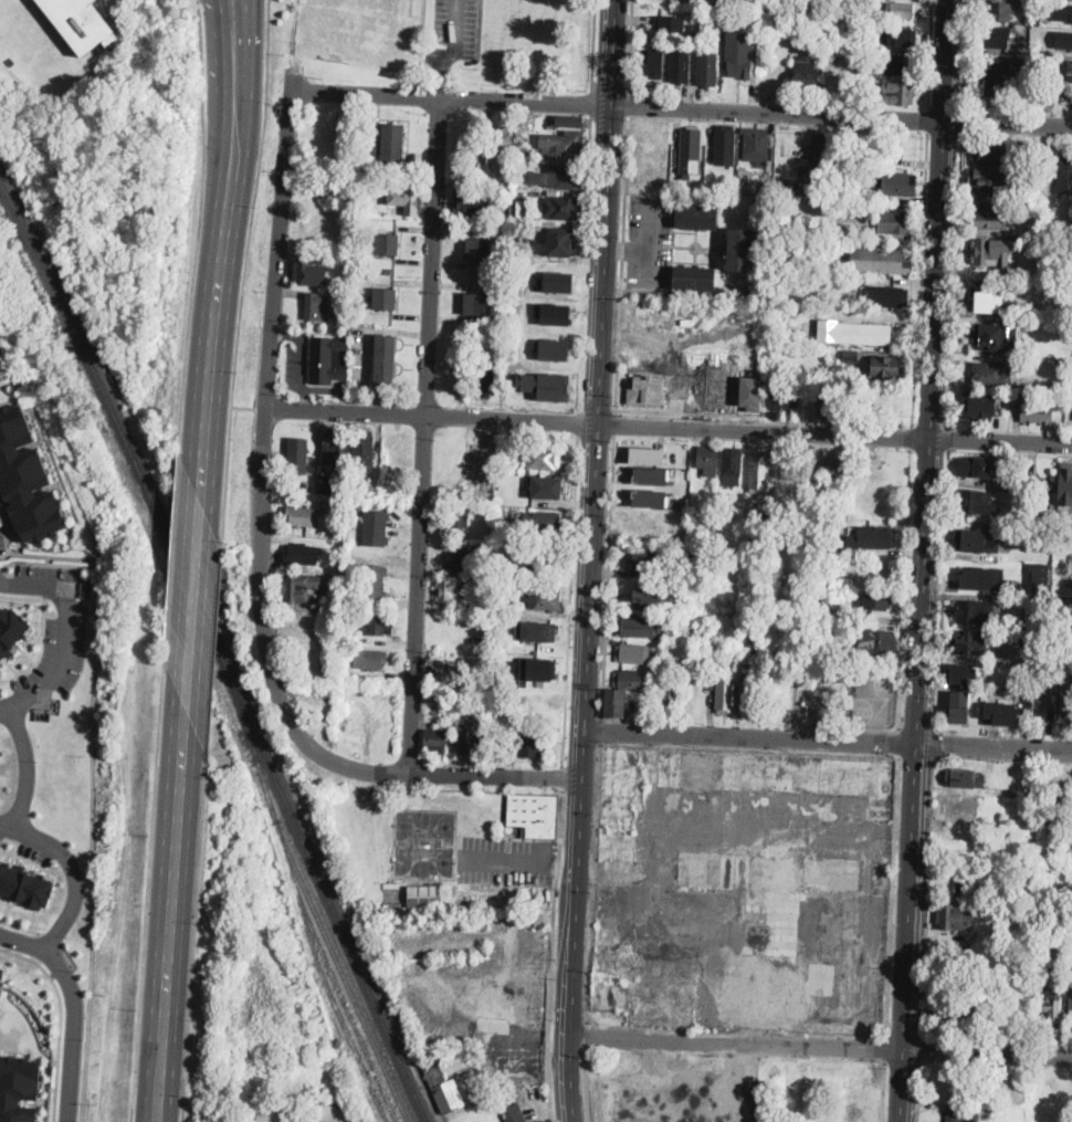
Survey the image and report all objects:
building: (1022, 2)
building: (726, 3)
building: (902, 10)
building: (1001, 11)
building: (1065, 12)
building: (880, 18)
building: (729, 19)
building: (671, 22)
building: (1038, 22)
building: (81, 23)
parking lot: (456, 25)
road: (455, 27)
road: (232, 31)
road: (244, 31)
building: (1037, 33)
building: (995, 38)
building: (900, 39)
building: (1064, 43)
road: (593, 45)
building: (797, 46)
road: (630, 48)
road: (929, 53)
road: (965, 53)
building: (739, 56)
building: (656, 62)
building: (1022, 62)
building: (895, 64)
building: (679, 65)
building: (707, 69)
building: (1065, 71)
building: (805, 72)
building: (834, 72)
building: (856, 75)
building: (994, 75)
building: (870, 82)
building: (898, 93)
building: (1044, 98)
road: (592, 104)
road: (630, 106)
road: (683, 106)
building: (569, 120)
road: (928, 120)
road: (961, 120)
building: (392, 144)
building: (565, 145)
building: (691, 145)
building: (726, 145)
building: (756, 146)
building: (858, 147)
building: (819, 148)
building: (991, 151)
building: (502, 153)
building: (523, 153)
building: (834, 153)
building: (743, 168)
building: (806, 168)
building: (1064, 175)
building: (482, 176)
building: (563, 178)
building: (816, 182)
building: (988, 182)
building: (896, 183)
building: (767, 187)
building: (784, 188)
building: (744, 190)
building: (1017, 193)
building: (406, 200)
road: (254, 202)
building: (471, 202)
building: (561, 209)
building: (696, 218)
building: (991, 220)
building: (1041, 221)
building: (895, 222)
road: (197, 237)
building: (522, 238)
building: (556, 241)
building: (371, 243)
building: (387, 244)
road: (648, 245)
building: (479, 250)
building: (739, 250)
building: (990, 252)
building: (880, 261)
road: (587, 264)
road: (622, 264)
building: (515, 265)
road: (647, 265)
building: (388, 270)
building: (349, 272)
building: (309, 274)
building: (694, 279)
road: (923, 279)
road: (219, 282)
road: (957, 282)
building: (886, 295)
building: (369, 298)
building: (386, 300)
building: (988, 301)
building: (475, 304)
building: (317, 307)
building: (854, 333)
building: (995, 336)
building: (851, 356)
building: (327, 360)
building: (385, 360)
building: (886, 367)
road: (934, 370)
building: (992, 375)
building: (487, 379)
building: (546, 384)
building: (785, 396)
building: (1009, 397)
road: (266, 400)
building: (829, 401)
building: (981, 403)
road: (598, 410)
building: (1038, 412)
road: (698, 413)
road: (579, 421)
road: (614, 422)
road: (669, 427)
road: (596, 433)
road: (423, 434)
road: (912, 437)
road: (950, 440)
building: (336, 447)
building: (364, 450)
building: (297, 454)
building: (647, 454)
building: (543, 458)
building: (708, 461)
building: (732, 466)
building: (829, 466)
road: (251, 468)
building: (977, 468)
road: (227, 470)
building: (758, 470)
park: (1038, 473)
building: (651, 475)
building: (25, 478)
building: (1065, 483)
building: (325, 484)
building: (1048, 485)
building: (547, 486)
building: (343, 487)
road: (595, 492)
building: (648, 497)
building: (979, 503)
building: (1029, 510)
building: (304, 516)
building: (460, 517)
building: (544, 520)
building: (811, 525)
building: (377, 527)
building: (877, 537)
building: (978, 542)
building: (302, 554)
building: (540, 557)
building: (463, 558)
building: (648, 560)
road: (171, 567)
building: (877, 572)
building: (1040, 575)
road: (610, 577)
building: (986, 578)
building: (374, 583)
building: (296, 587)
road: (944, 590)
building: (453, 593)
building: (486, 596)
building: (655, 596)
building: (544, 598)
road: (571, 598)
building: (876, 600)
building: (1048, 601)
building: (334, 604)
road: (193, 606)
building: (975, 612)
building: (380, 625)
building: (488, 628)
building: (638, 628)
building: (11, 629)
road: (41, 630)
building: (543, 631)
road: (65, 636)
building: (877, 641)
road: (904, 642)
road: (213, 643)
building: (969, 643)
railway: (217, 648)
building: (519, 650)
building: (835, 652)
building: (633, 653)
building: (659, 657)
building: (370, 659)
building: (0, 662)
building: (539, 667)
building: (449, 672)
building: (963, 673)
building: (631, 681)
building: (726, 693)
building: (747, 693)
building: (670, 694)
park: (845, 695)
building: (345, 696)
building: (1032, 701)
building: (616, 703)
building: (959, 705)
building: (533, 709)
building: (1062, 711)
building: (354, 728)
road: (601, 730)
road: (919, 730)
building: (503, 736)
road: (750, 736)
building: (467, 738)
building: (437, 740)
road: (900, 742)
building: (529, 746)
road: (995, 746)
road: (27, 768)
road: (420, 772)
road: (563, 777)
building: (966, 778)
building: (1053, 808)
building: (535, 815)
building: (270, 832)
road: (557, 852)
road: (24, 857)
road: (500, 857)
parking lot: (505, 859)
road: (71, 870)
road: (595, 881)
building: (24, 885)
building: (967, 885)
road: (148, 891)
road: (892, 893)
building: (424, 894)
road: (912, 898)
road: (171, 915)
building: (955, 919)
road: (20, 925)
road: (193, 936)
road: (52, 937)
building: (994, 946)
building: (954, 951)
road: (551, 955)
road: (70, 956)
road: (27, 957)
road: (60, 969)
building: (1069, 972)
building: (1, 978)
building: (1070, 1003)
road: (73, 1007)
building: (1052, 1007)
building: (955, 1009)
road: (586, 1035)
road: (737, 1044)
road: (59, 1047)
road: (885, 1047)
road: (568, 1052)
road: (988, 1056)
building: (859, 1070)
building: (438, 1079)
building: (797, 1081)
road: (586, 1086)
road: (904, 1087)
building: (19, 1088)
road: (883, 1092)
building: (858, 1093)
building: (818, 1094)
building: (515, 1113)
building: (859, 1114)
building: (817, 1116)
building: (963, 1116)

